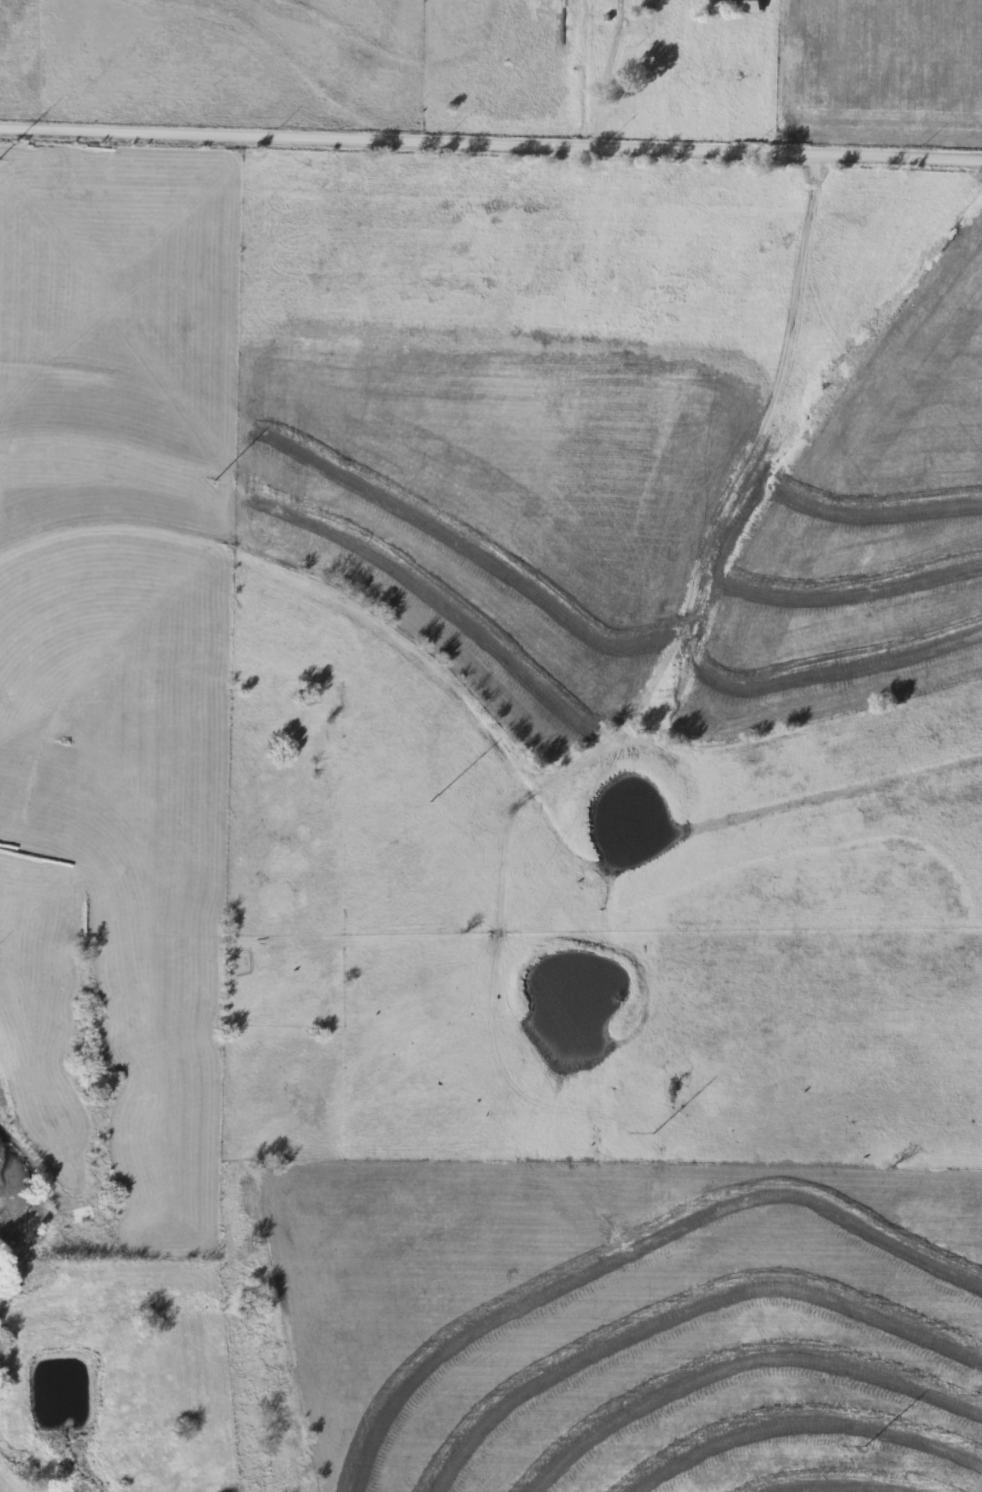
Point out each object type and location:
building: (736, 6)
road: (606, 65)
road: (491, 132)

